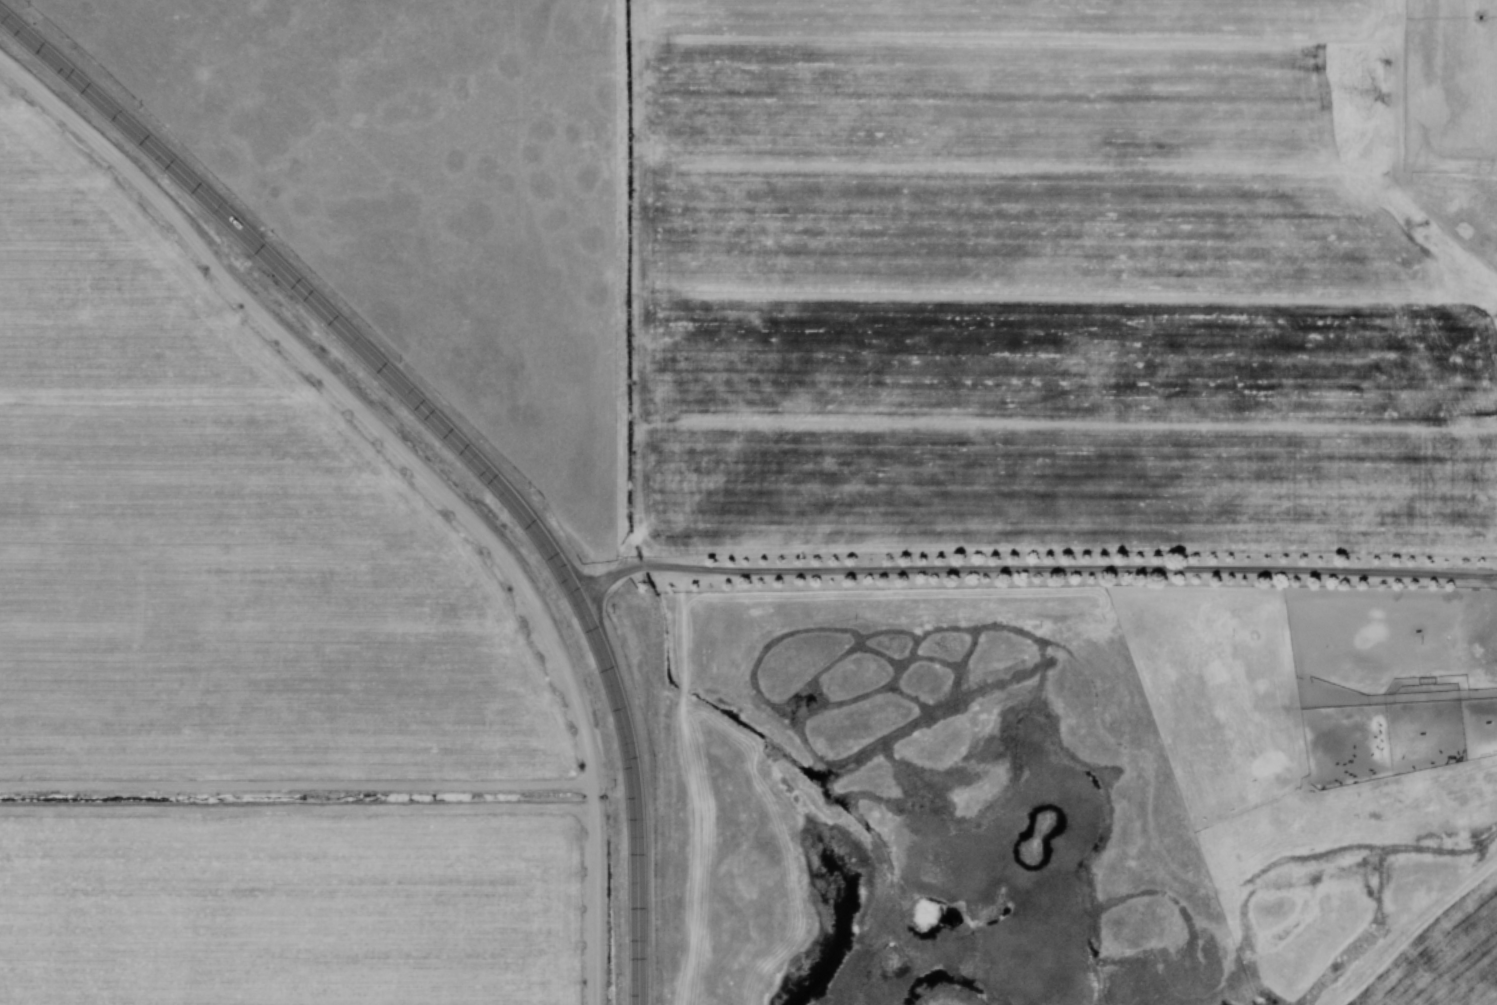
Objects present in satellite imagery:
road: (628, 285)
road: (451, 440)
road: (1032, 572)

